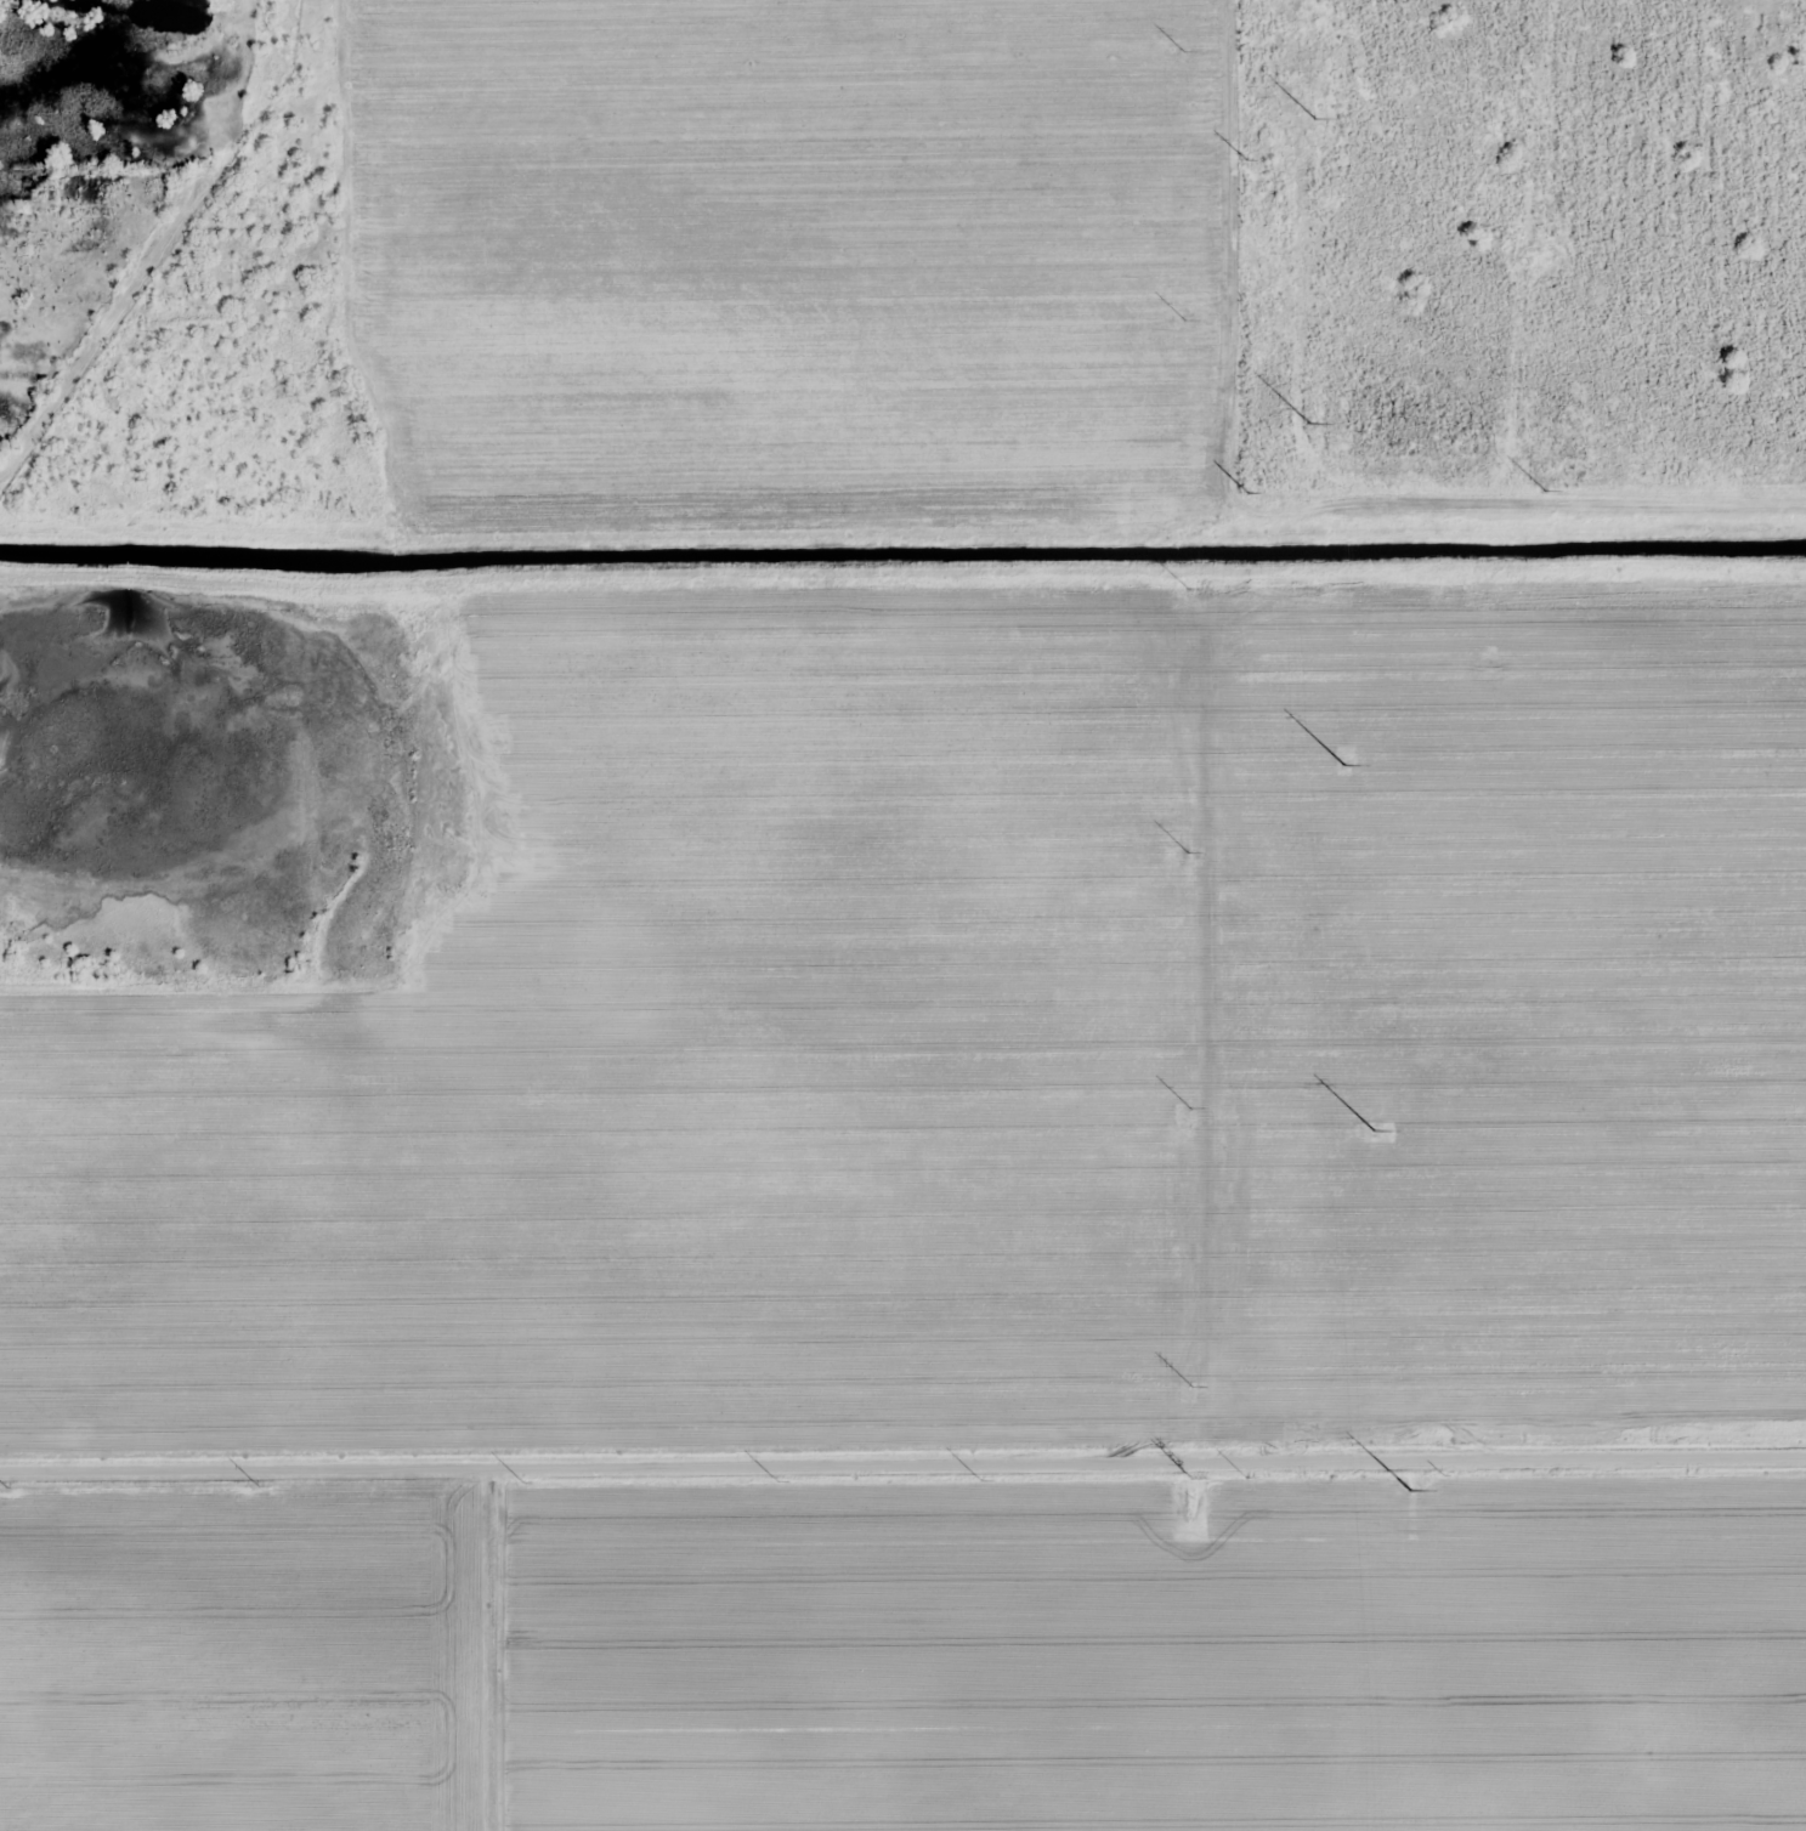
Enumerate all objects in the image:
power tower: (1538, 257)
road: (316, 321)
power tower: (1489, 664)
power tower: (1445, 1070)
road: (902, 1442)
power tower: (1190, 1476)
power tower: (1403, 1490)
road: (483, 1638)

